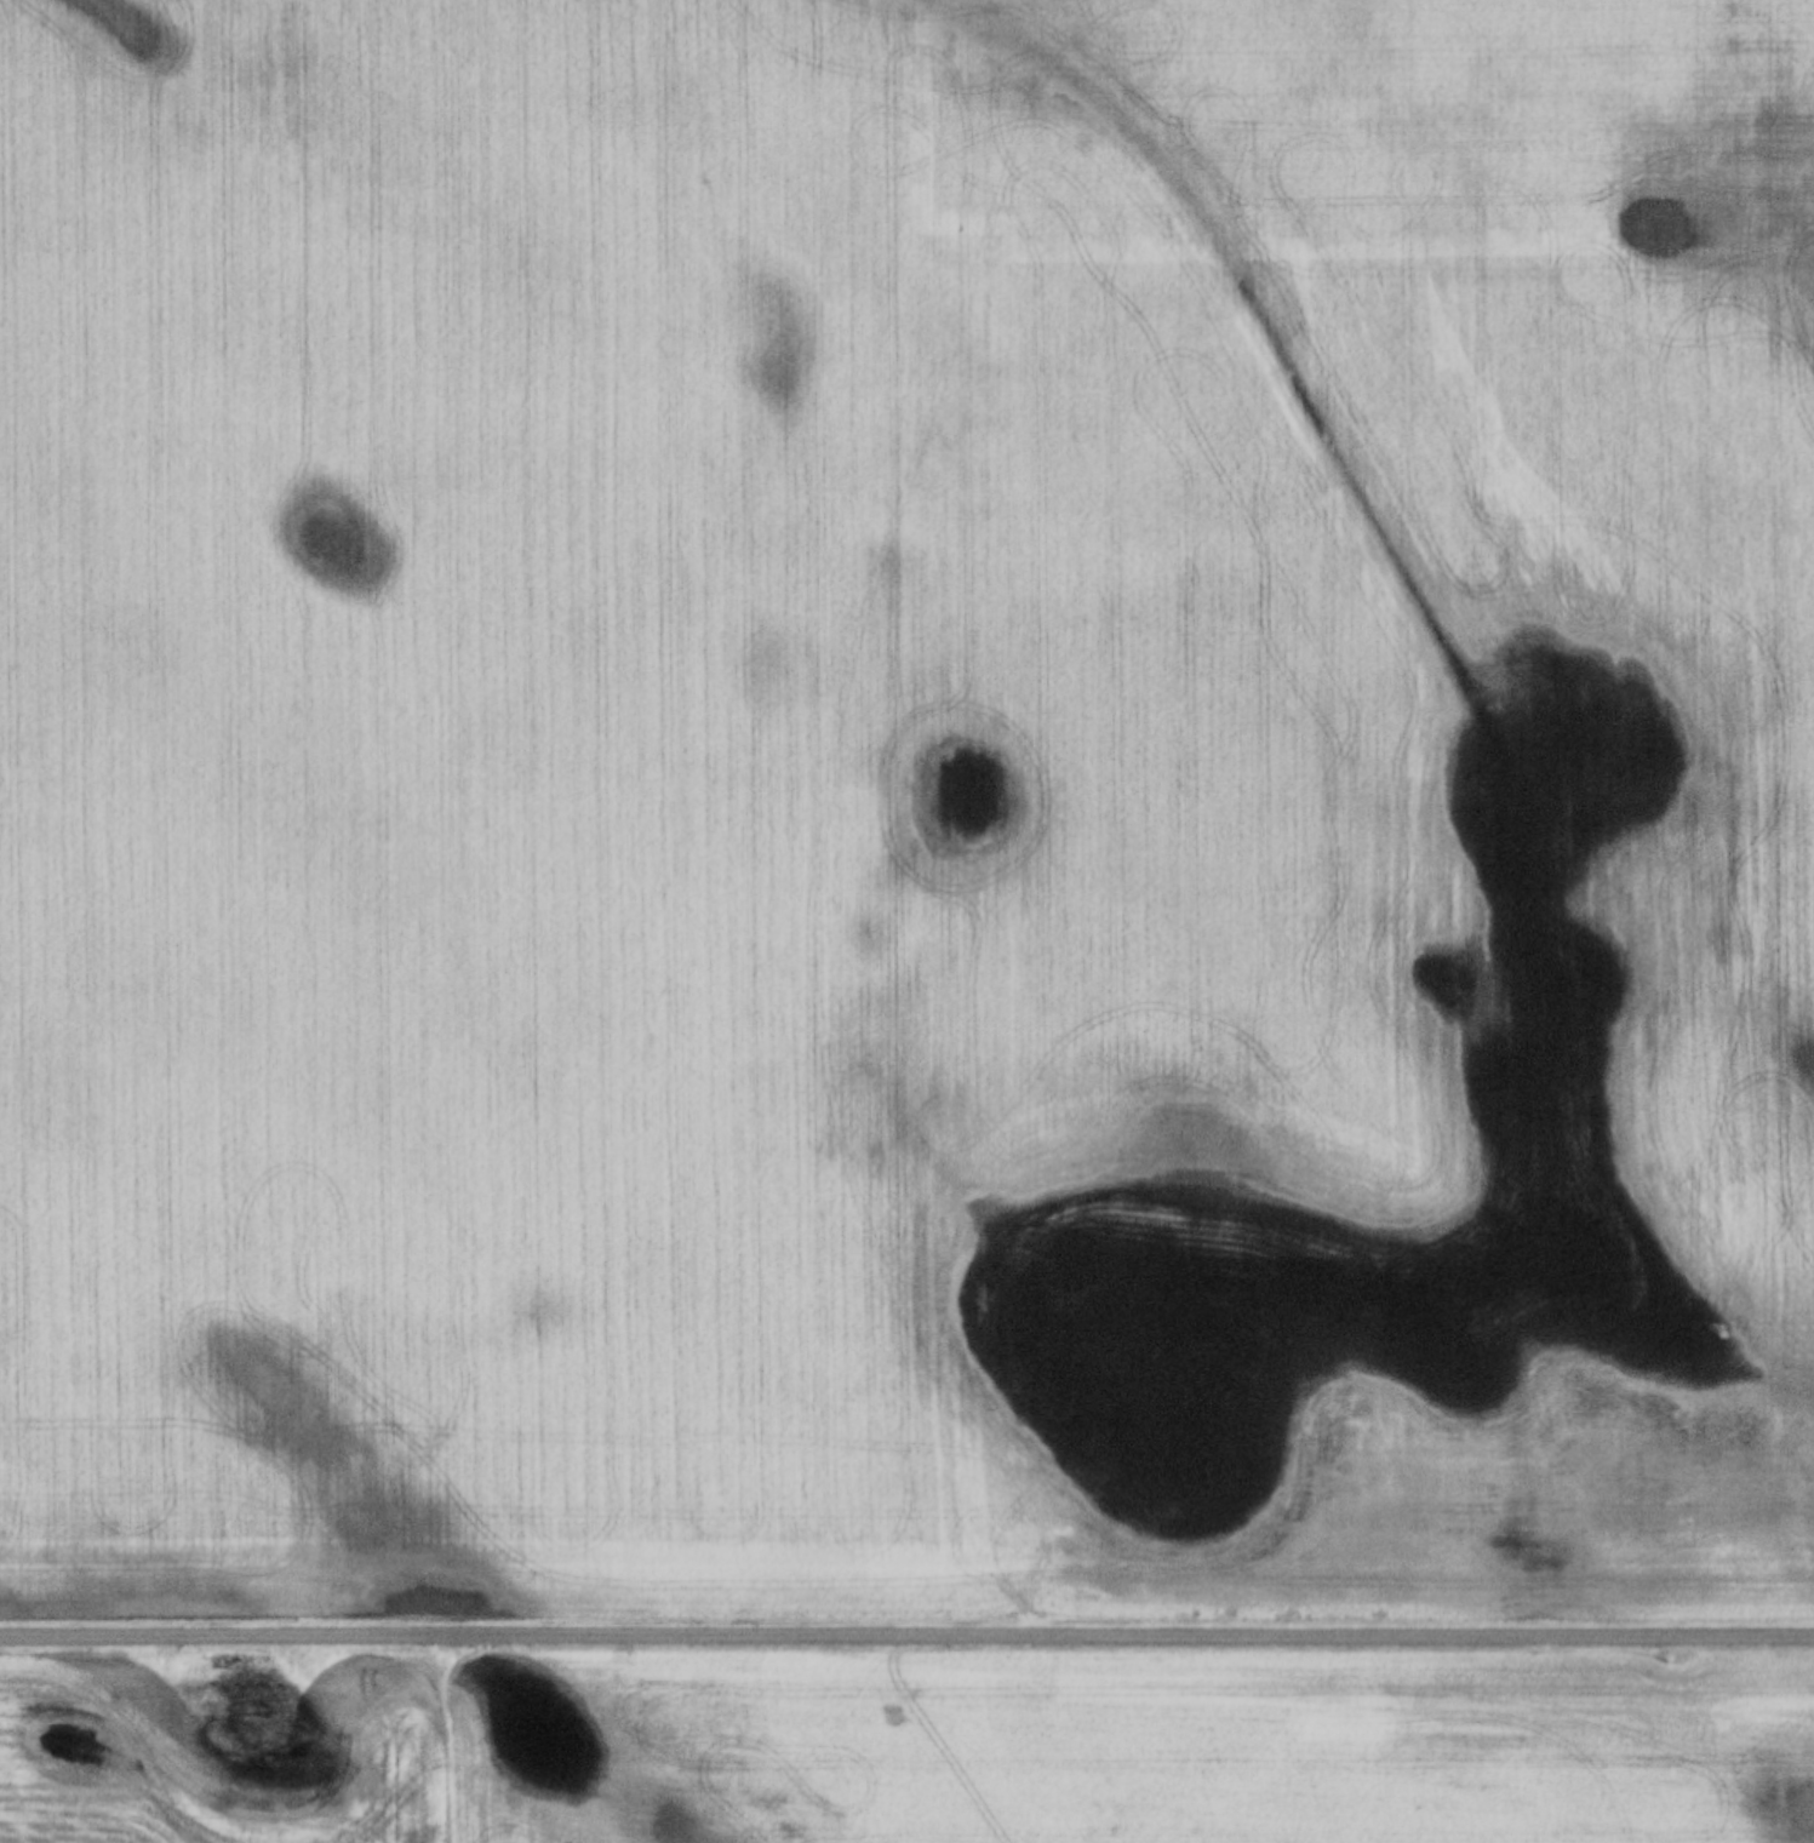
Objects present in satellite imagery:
road: (906, 1633)

